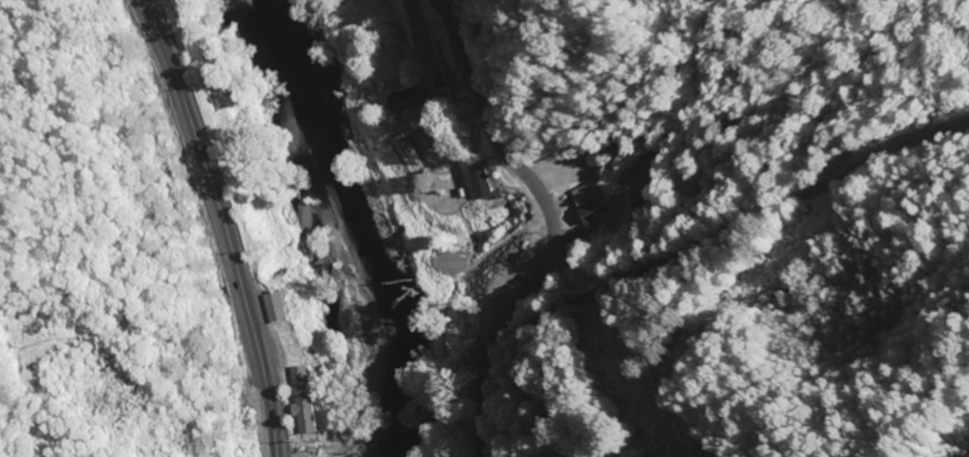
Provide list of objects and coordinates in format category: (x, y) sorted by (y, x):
park: (18, 26)
road: (415, 32)
building: (407, 98)
building: (477, 182)
building: (584, 196)
building: (587, 216)
road: (552, 223)
road: (215, 225)
river: (336, 227)
road: (688, 256)
building: (273, 306)
building: (301, 399)

